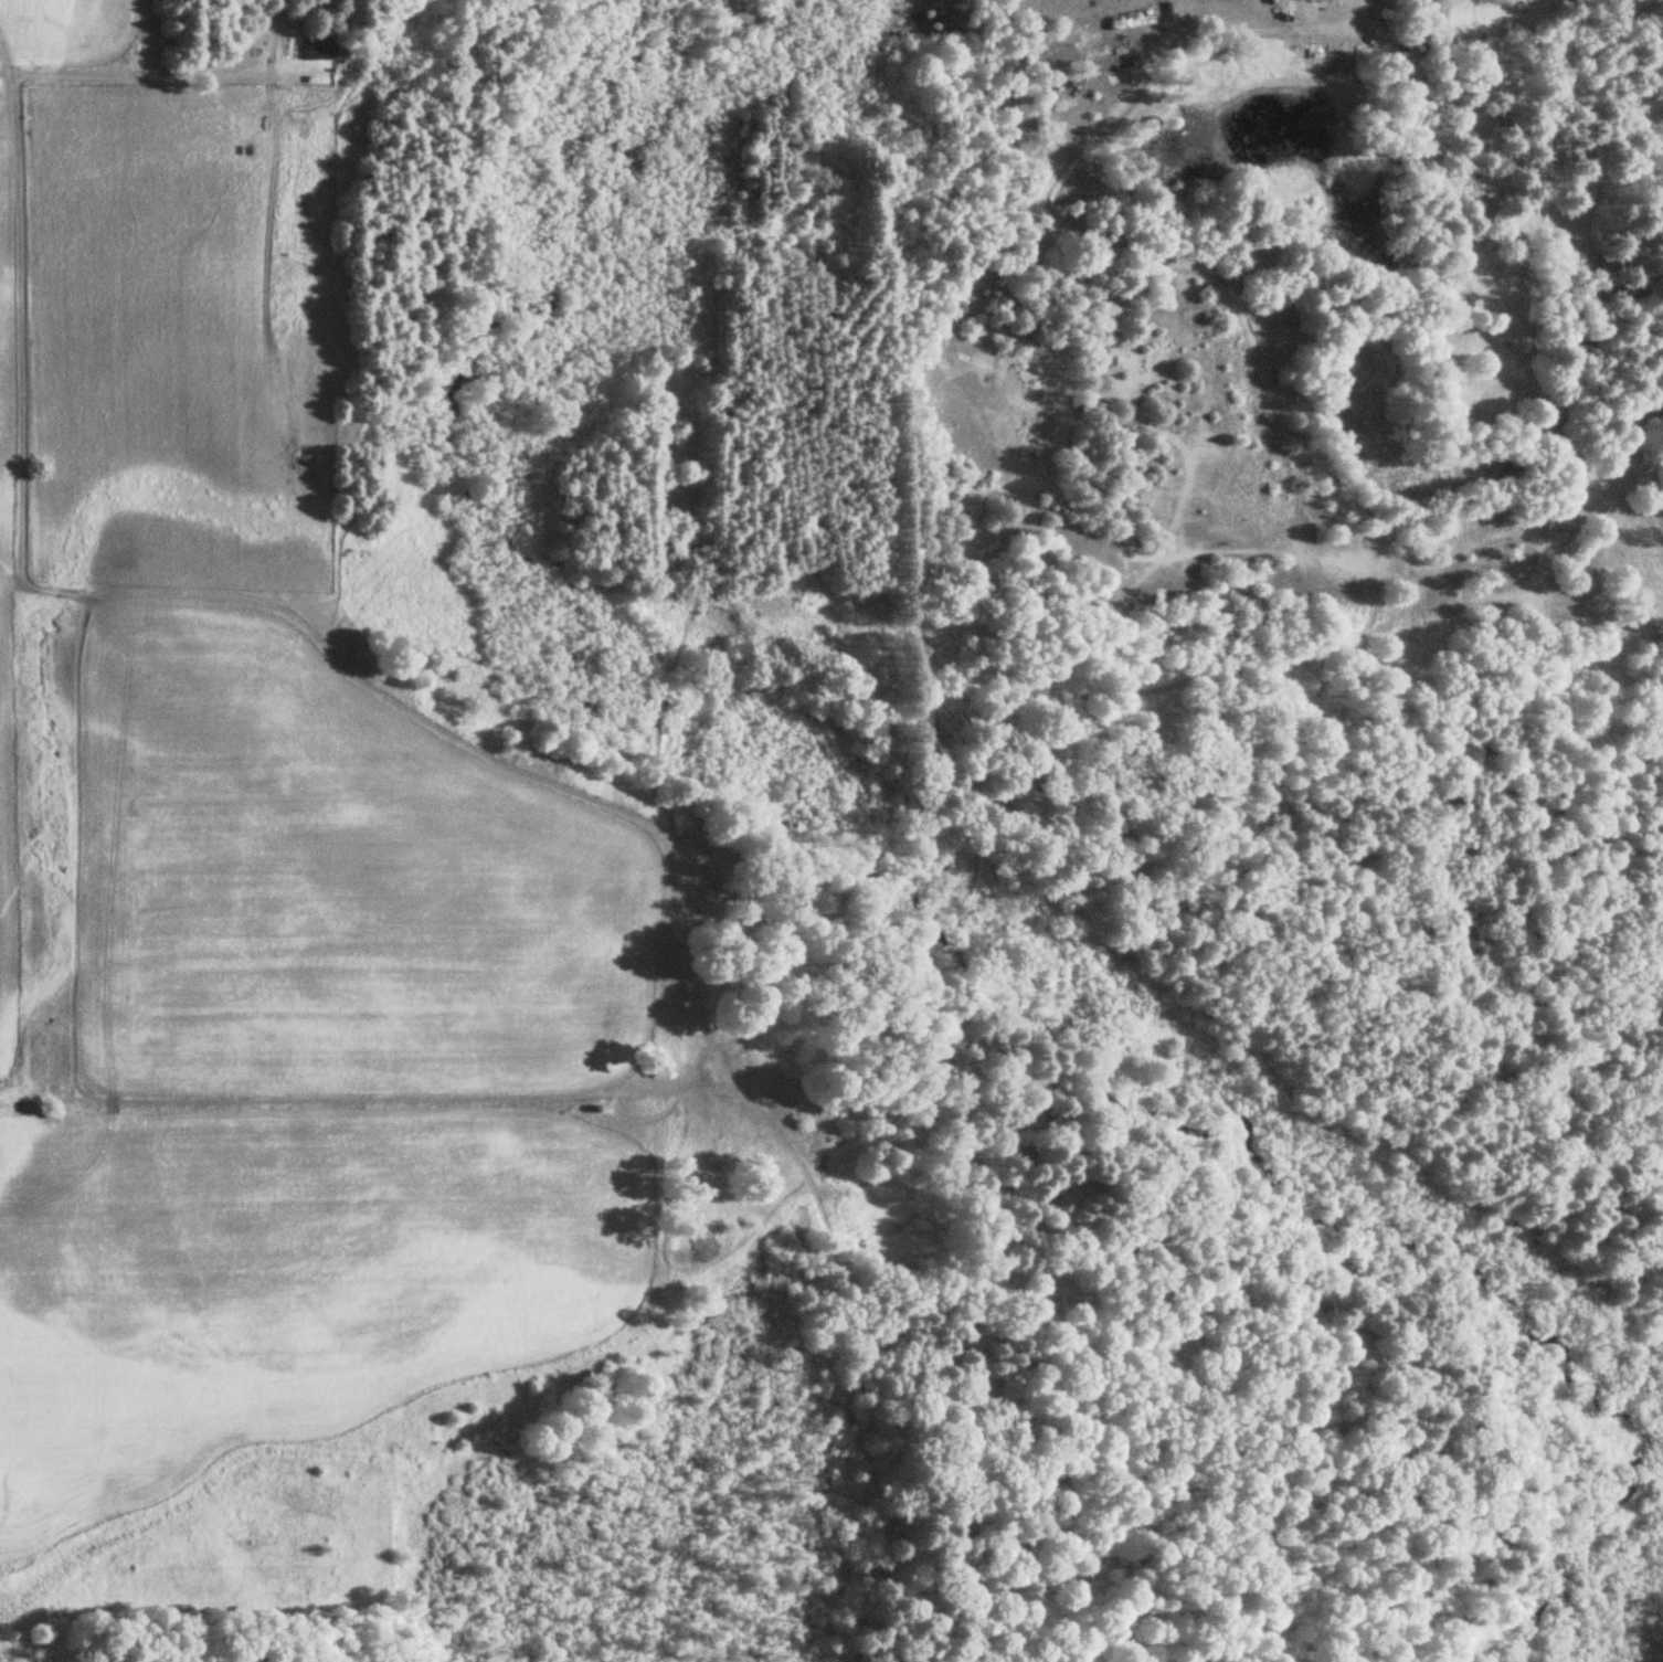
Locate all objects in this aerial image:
building: (1400, 0)
building: (1127, 22)
building: (320, 49)

